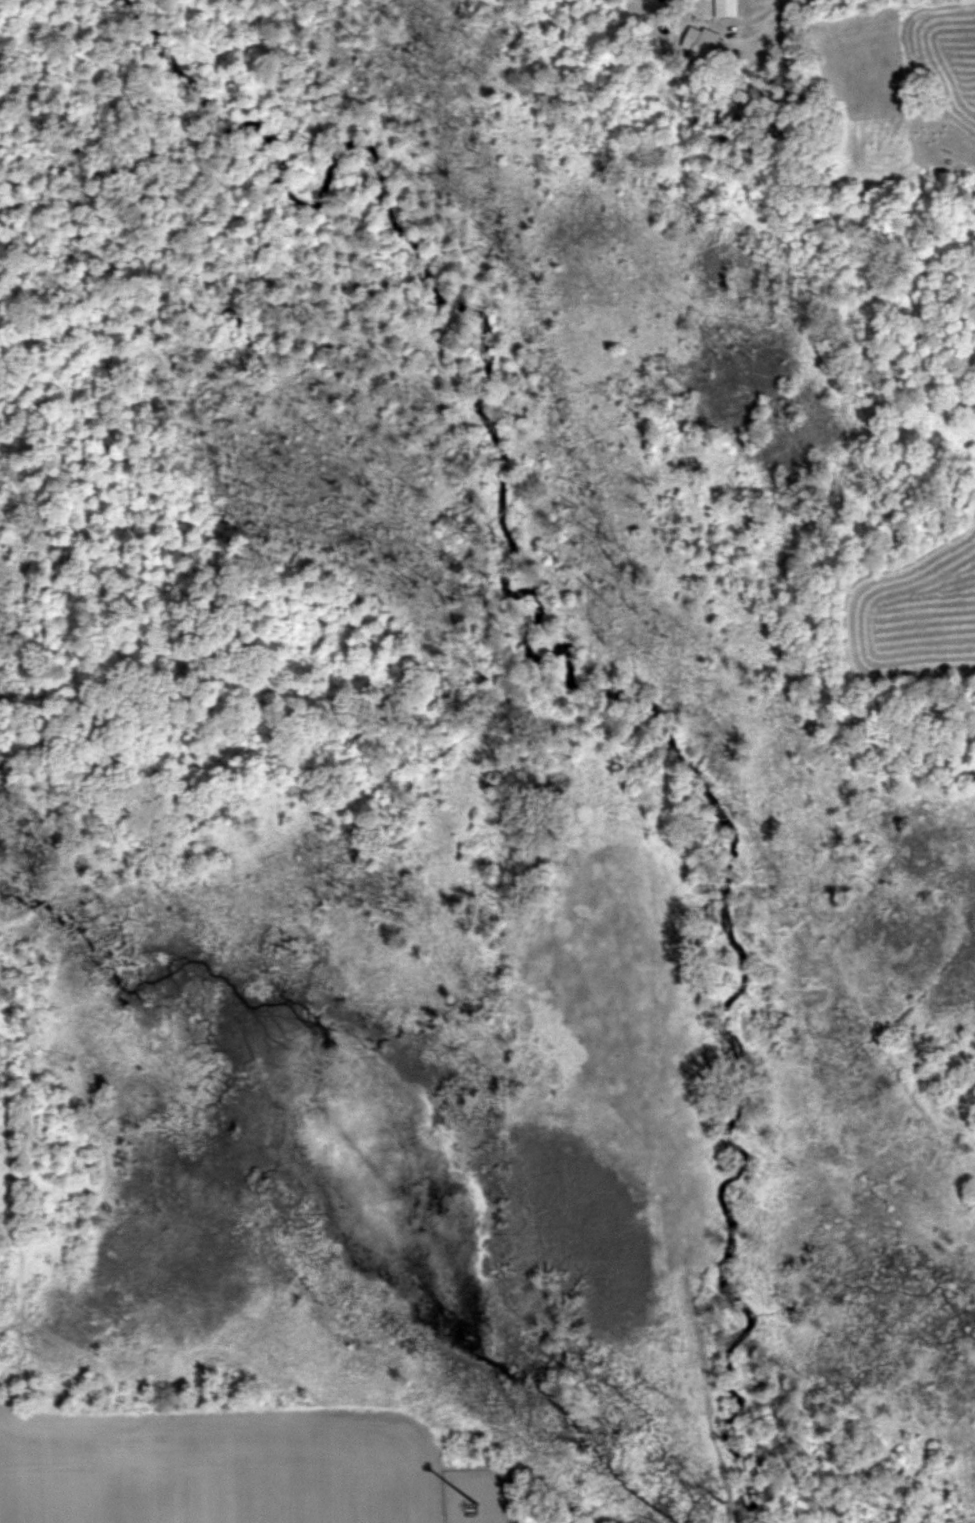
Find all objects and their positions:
building: (726, 8)
road: (766, 13)
building: (703, 40)

